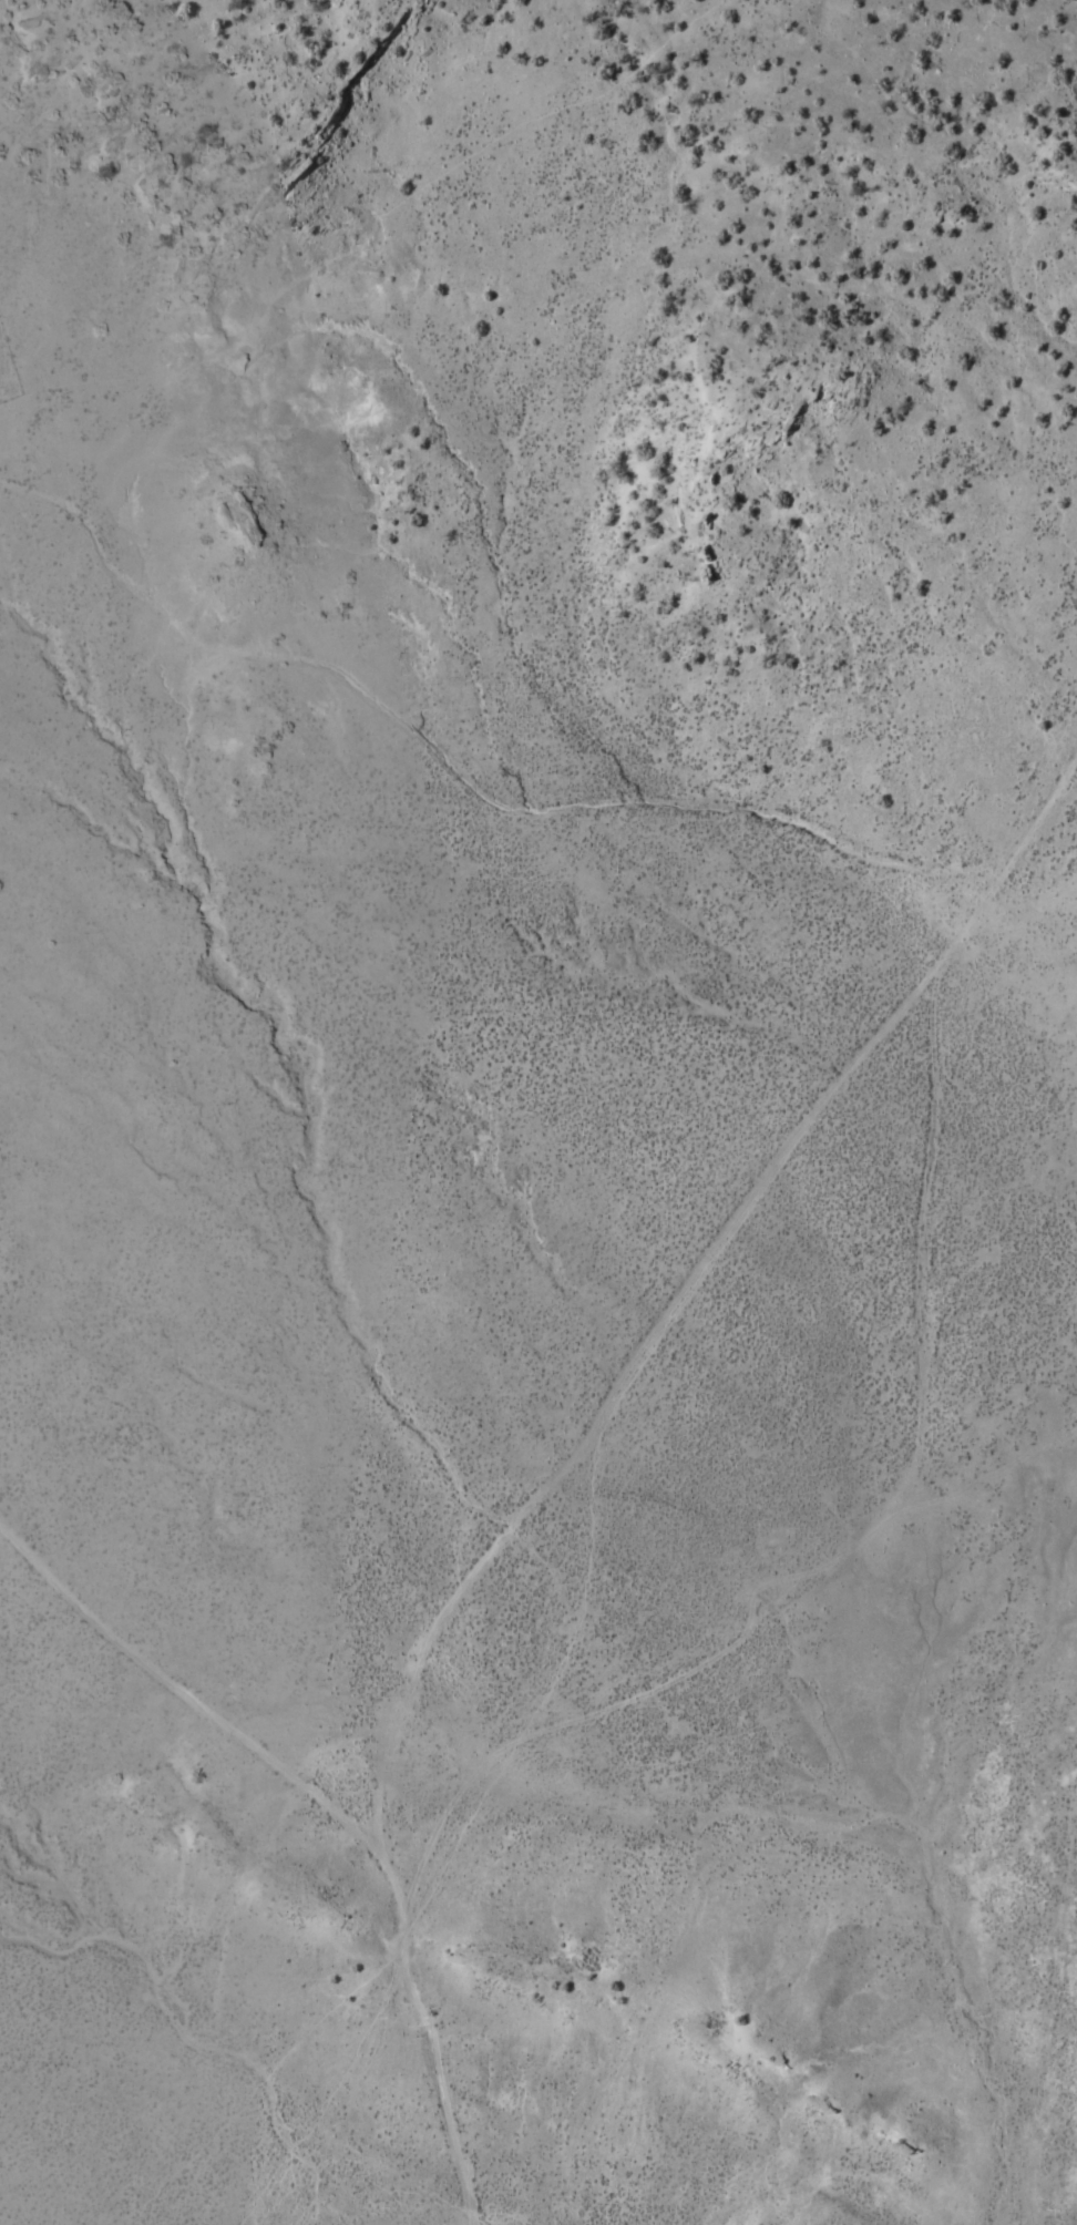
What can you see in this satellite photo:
road: (462, 771)
road: (952, 1378)
road: (351, 1761)

